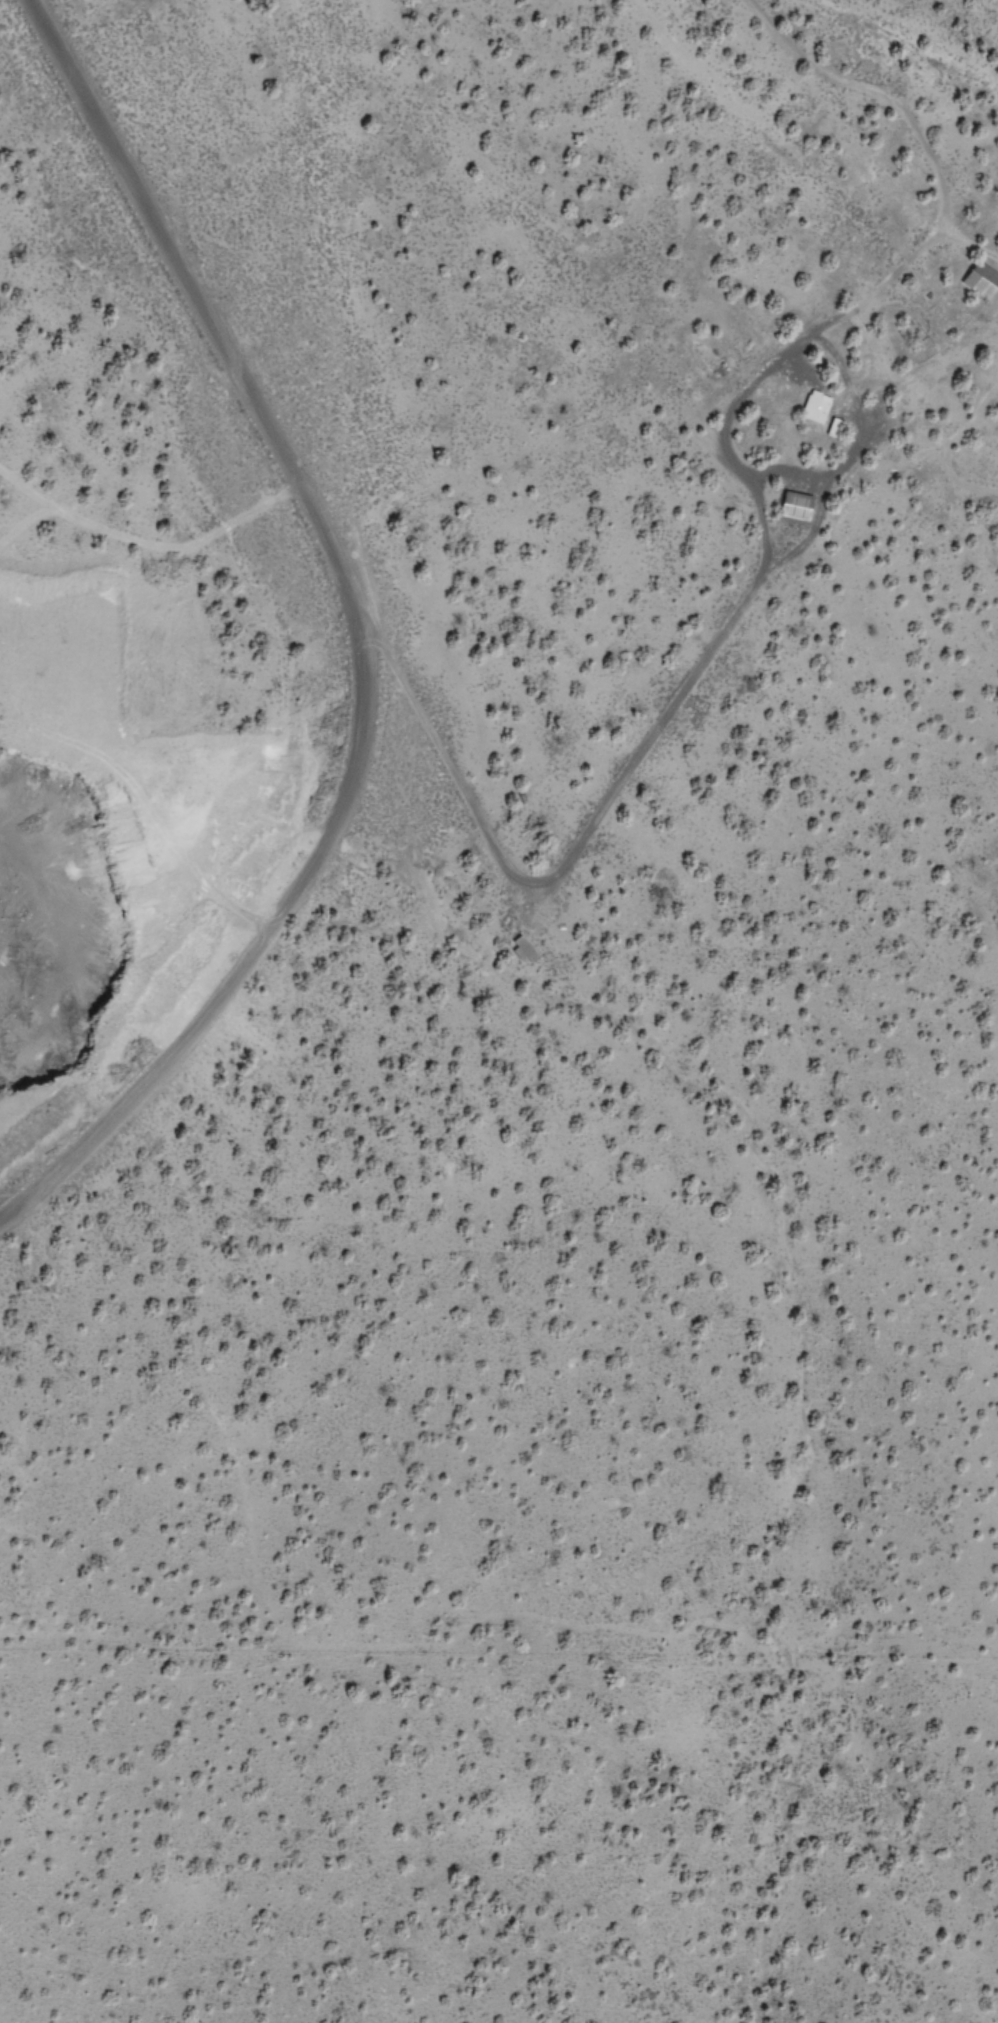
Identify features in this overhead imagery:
road: (933, 36)
building: (982, 279)
building: (798, 505)
road: (349, 631)
quarry: (115, 894)
building: (523, 947)

